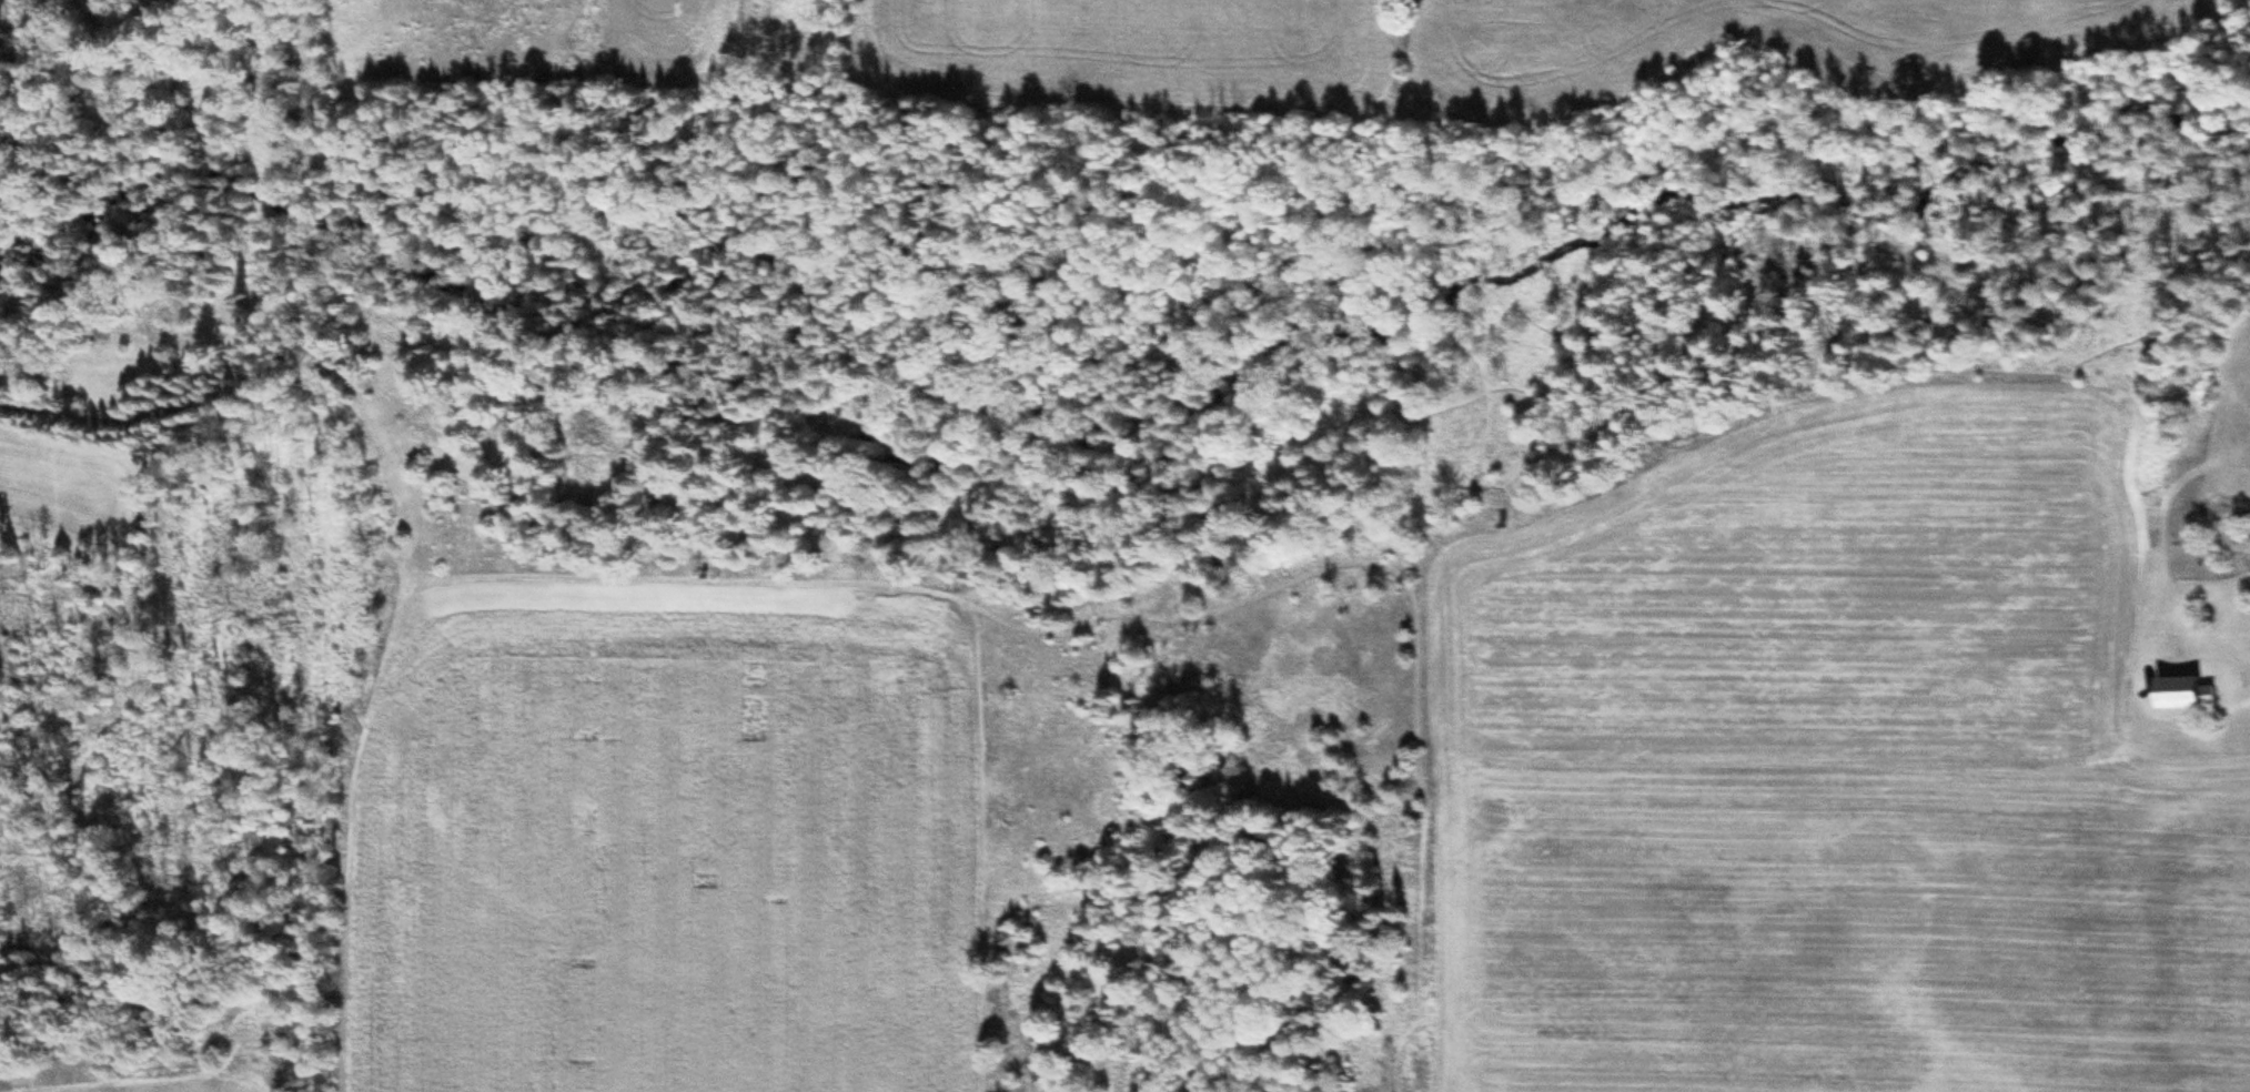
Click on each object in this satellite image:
road: (306, 83)
building: (2182, 696)

